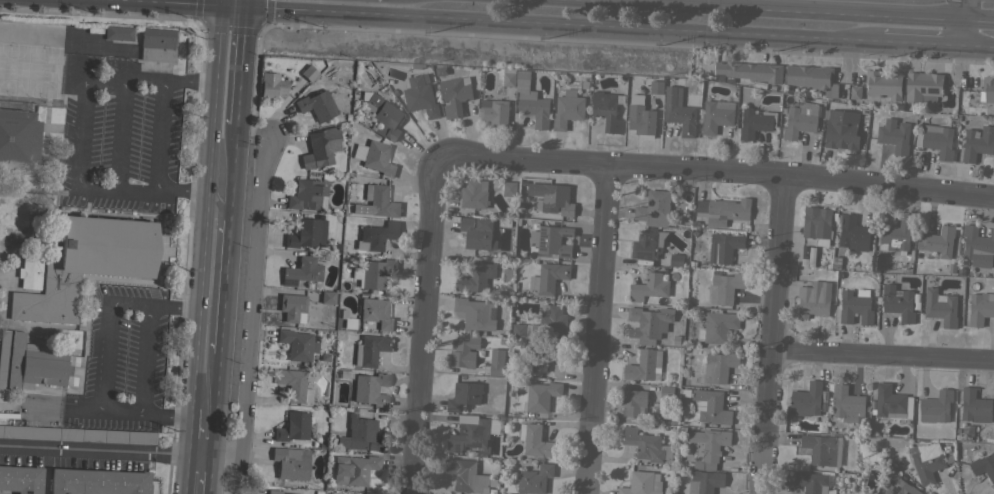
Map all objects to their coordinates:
road: (193, 2)
traffic signals: (237, 5)
road: (765, 10)
road: (963, 10)
road: (978, 21)
road: (560, 22)
building: (117, 32)
road: (962, 32)
road: (47, 37)
road: (922, 42)
road: (234, 43)
road: (977, 44)
building: (156, 45)
building: (118, 51)
building: (747, 71)
building: (308, 73)
building: (508, 76)
building: (812, 77)
road: (157, 80)
building: (884, 83)
building: (272, 84)
building: (923, 86)
building: (656, 87)
building: (987, 89)
building: (455, 94)
building: (420, 95)
building: (531, 100)
road: (231, 105)
building: (316, 105)
building: (567, 110)
building: (606, 110)
building: (494, 111)
building: (383, 115)
building: (640, 115)
building: (716, 115)
building: (681, 117)
road: (81, 119)
building: (800, 119)
building: (755, 122)
building: (841, 129)
road: (121, 133)
road: (156, 135)
building: (894, 135)
building: (936, 139)
building: (18, 140)
building: (977, 142)
building: (321, 147)
building: (374, 156)
road: (714, 169)
building: (509, 188)
road: (154, 190)
building: (474, 194)
building: (307, 195)
building: (551, 197)
building: (380, 201)
building: (655, 208)
building: (723, 210)
road: (223, 220)
building: (816, 222)
building: (306, 233)
building: (477, 233)
building: (853, 233)
building: (376, 235)
building: (893, 235)
building: (938, 241)
building: (550, 242)
building: (646, 244)
building: (724, 246)
building: (978, 246)
building: (808, 256)
building: (676, 259)
building: (85, 265)
road: (254, 267)
building: (301, 271)
building: (372, 272)
building: (29, 273)
building: (477, 274)
rooftop solar panel: (310, 276)
building: (548, 277)
rooftop solar panel: (286, 280)
building: (649, 287)
building: (724, 287)
building: (327, 297)
building: (814, 299)
building: (898, 302)
road: (158, 304)
building: (855, 306)
building: (940, 306)
building: (292, 307)
building: (980, 308)
building: (376, 313)
building: (476, 313)
building: (346, 319)
road: (422, 323)
building: (649, 323)
building: (544, 324)
building: (717, 327)
road: (599, 328)
road: (211, 334)
road: (776, 334)
building: (296, 344)
building: (369, 350)
building: (465, 352)
road: (884, 355)
building: (542, 357)
building: (496, 361)
building: (28, 363)
building: (645, 365)
building: (719, 366)
road: (207, 379)
building: (293, 385)
building: (369, 389)
building: (666, 392)
building: (540, 393)
building: (465, 397)
building: (633, 400)
building: (806, 400)
building: (892, 402)
building: (847, 404)
road: (97, 406)
building: (712, 406)
building: (974, 406)
building: (936, 407)
road: (204, 412)
building: (292, 426)
building: (76, 434)
building: (359, 434)
building: (472, 434)
road: (201, 436)
building: (535, 440)
rooftop solar panel: (474, 444)
building: (646, 445)
rooftop solar panel: (455, 447)
building: (705, 448)
road: (99, 449)
building: (820, 449)
road: (238, 450)
road: (218, 457)
building: (927, 461)
building: (291, 463)
building: (984, 466)
building: (353, 469)
road: (197, 474)
building: (467, 475)
building: (21, 479)
building: (534, 479)
building: (97, 482)
building: (704, 482)
building: (811, 482)
rooftop solar panel: (888, 482)
building: (642, 483)
building: (897, 486)
rooftop solar panel: (893, 489)
building: (275, 492)

